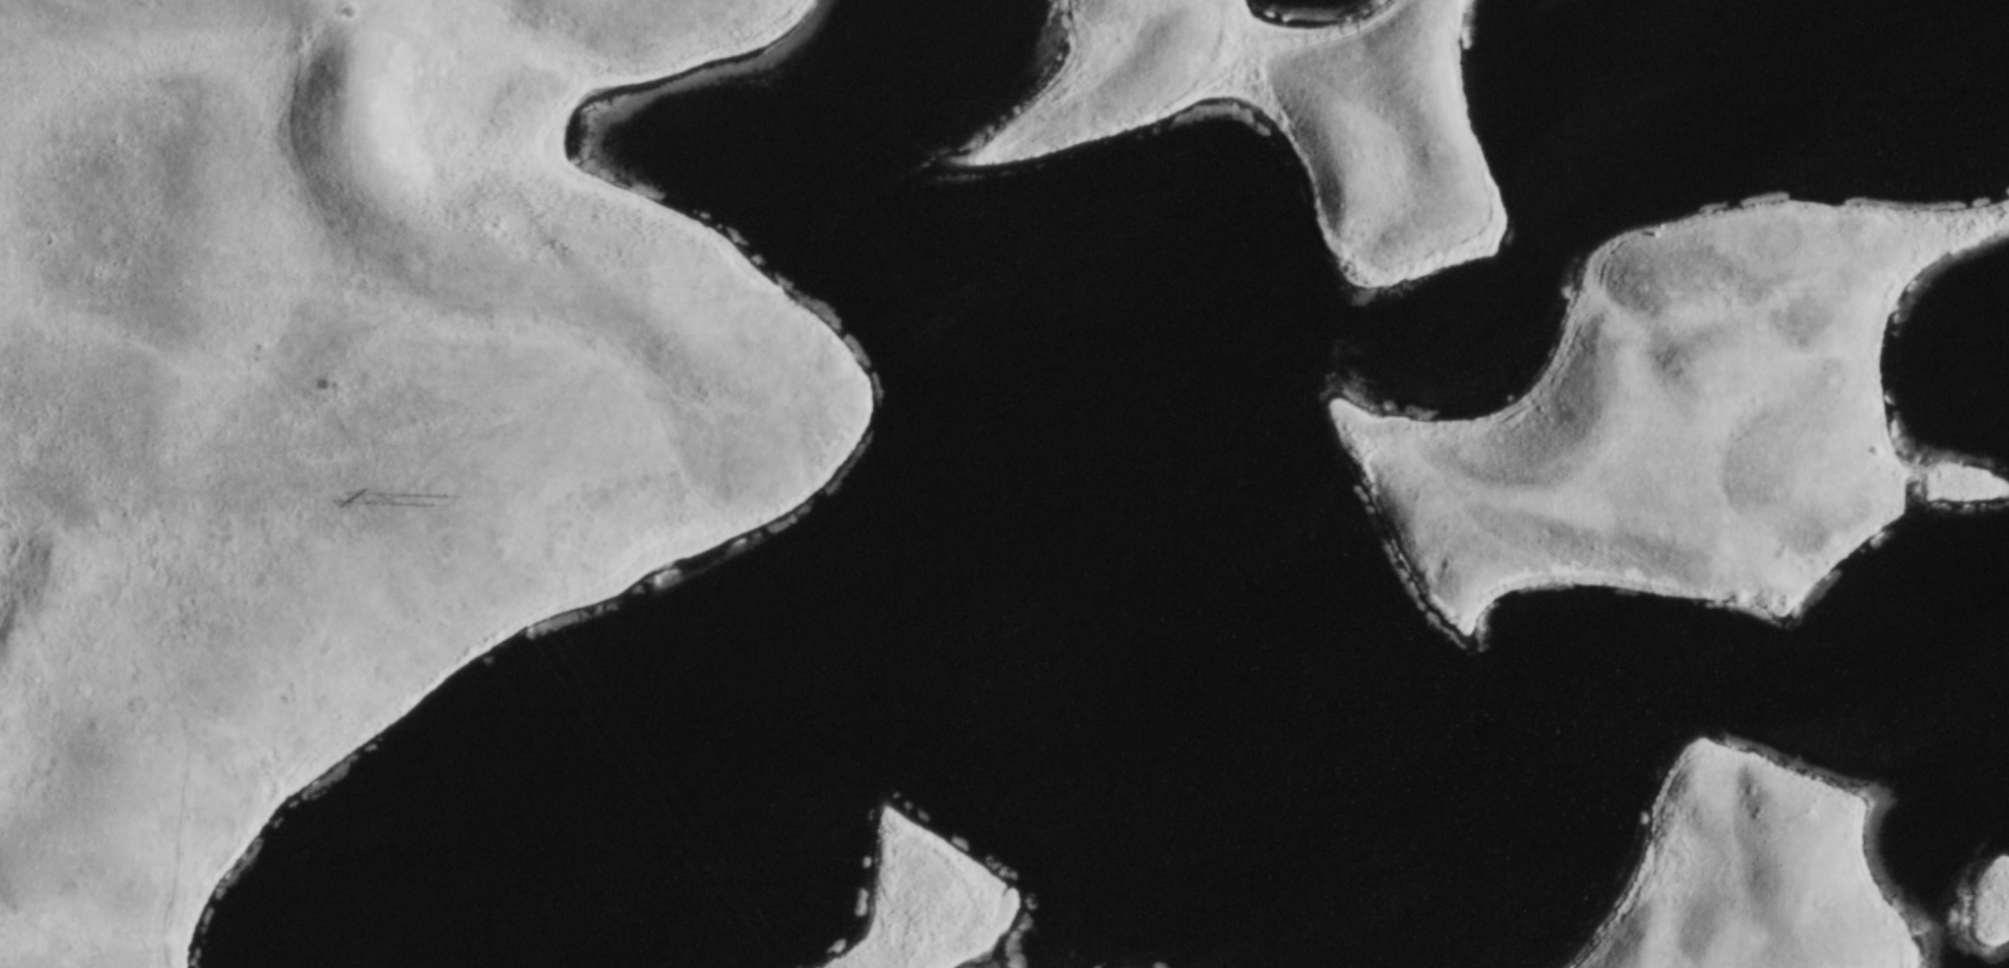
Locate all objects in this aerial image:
power tower: (435, 499)

